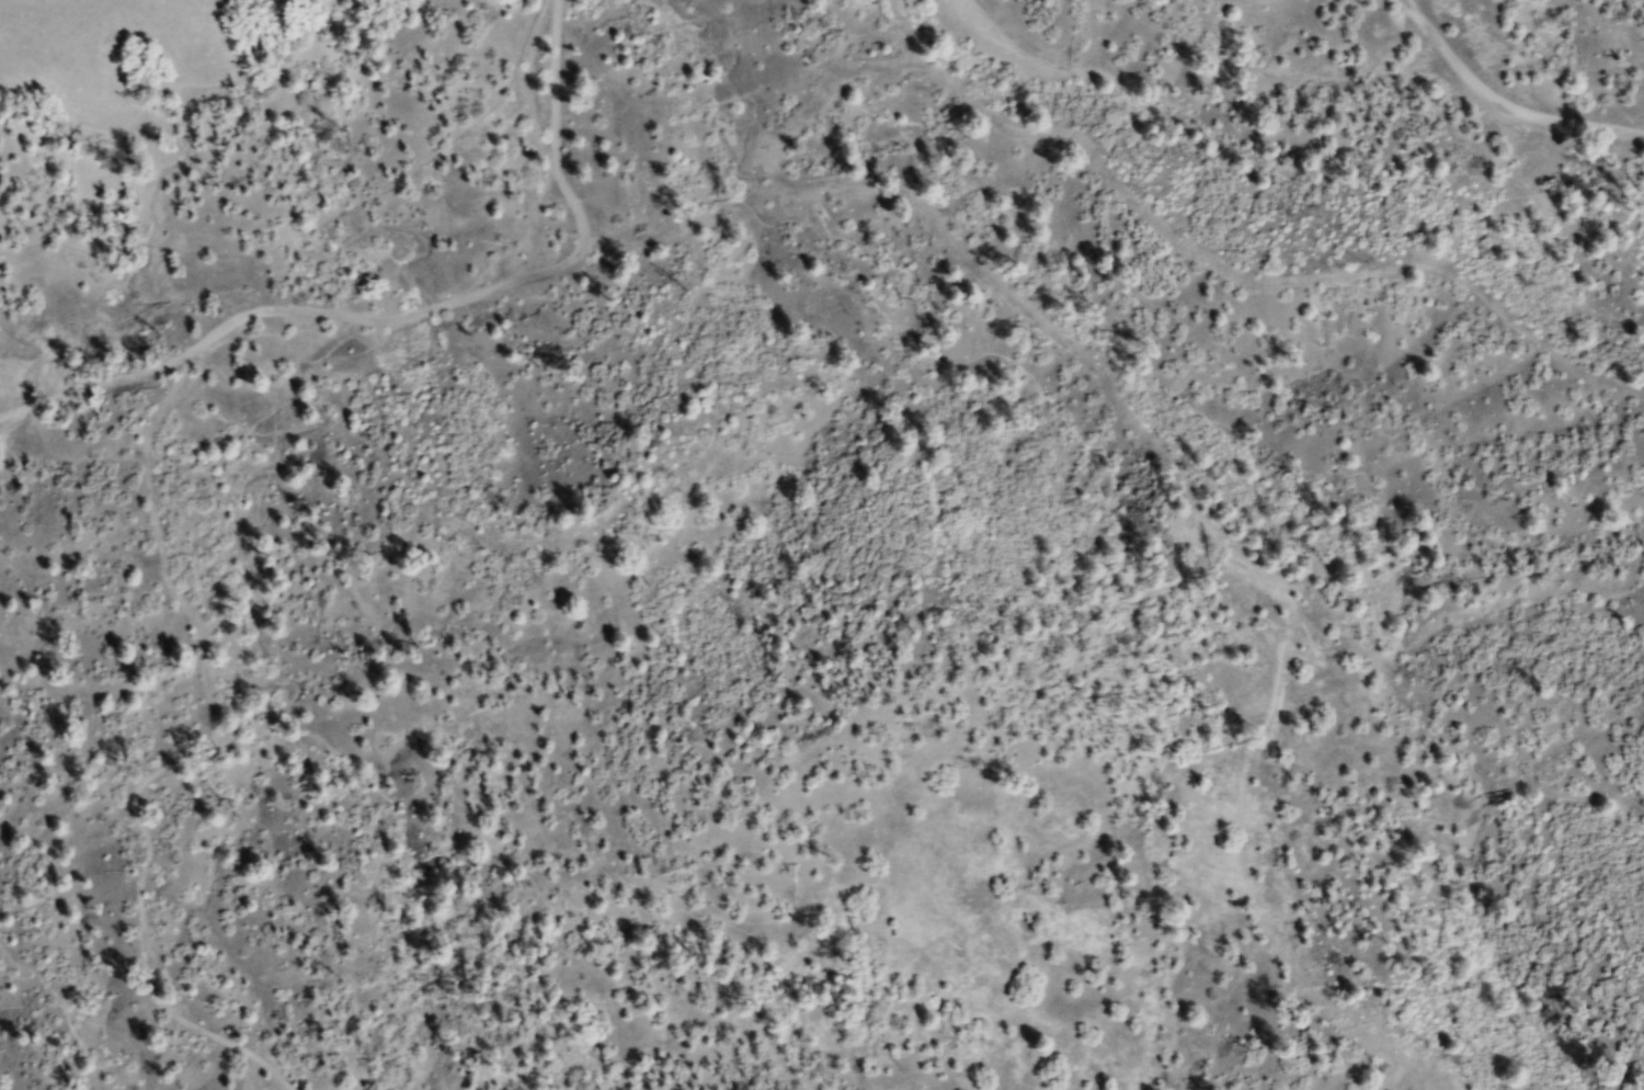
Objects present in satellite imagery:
road: (1510, 100)
road: (295, 287)

